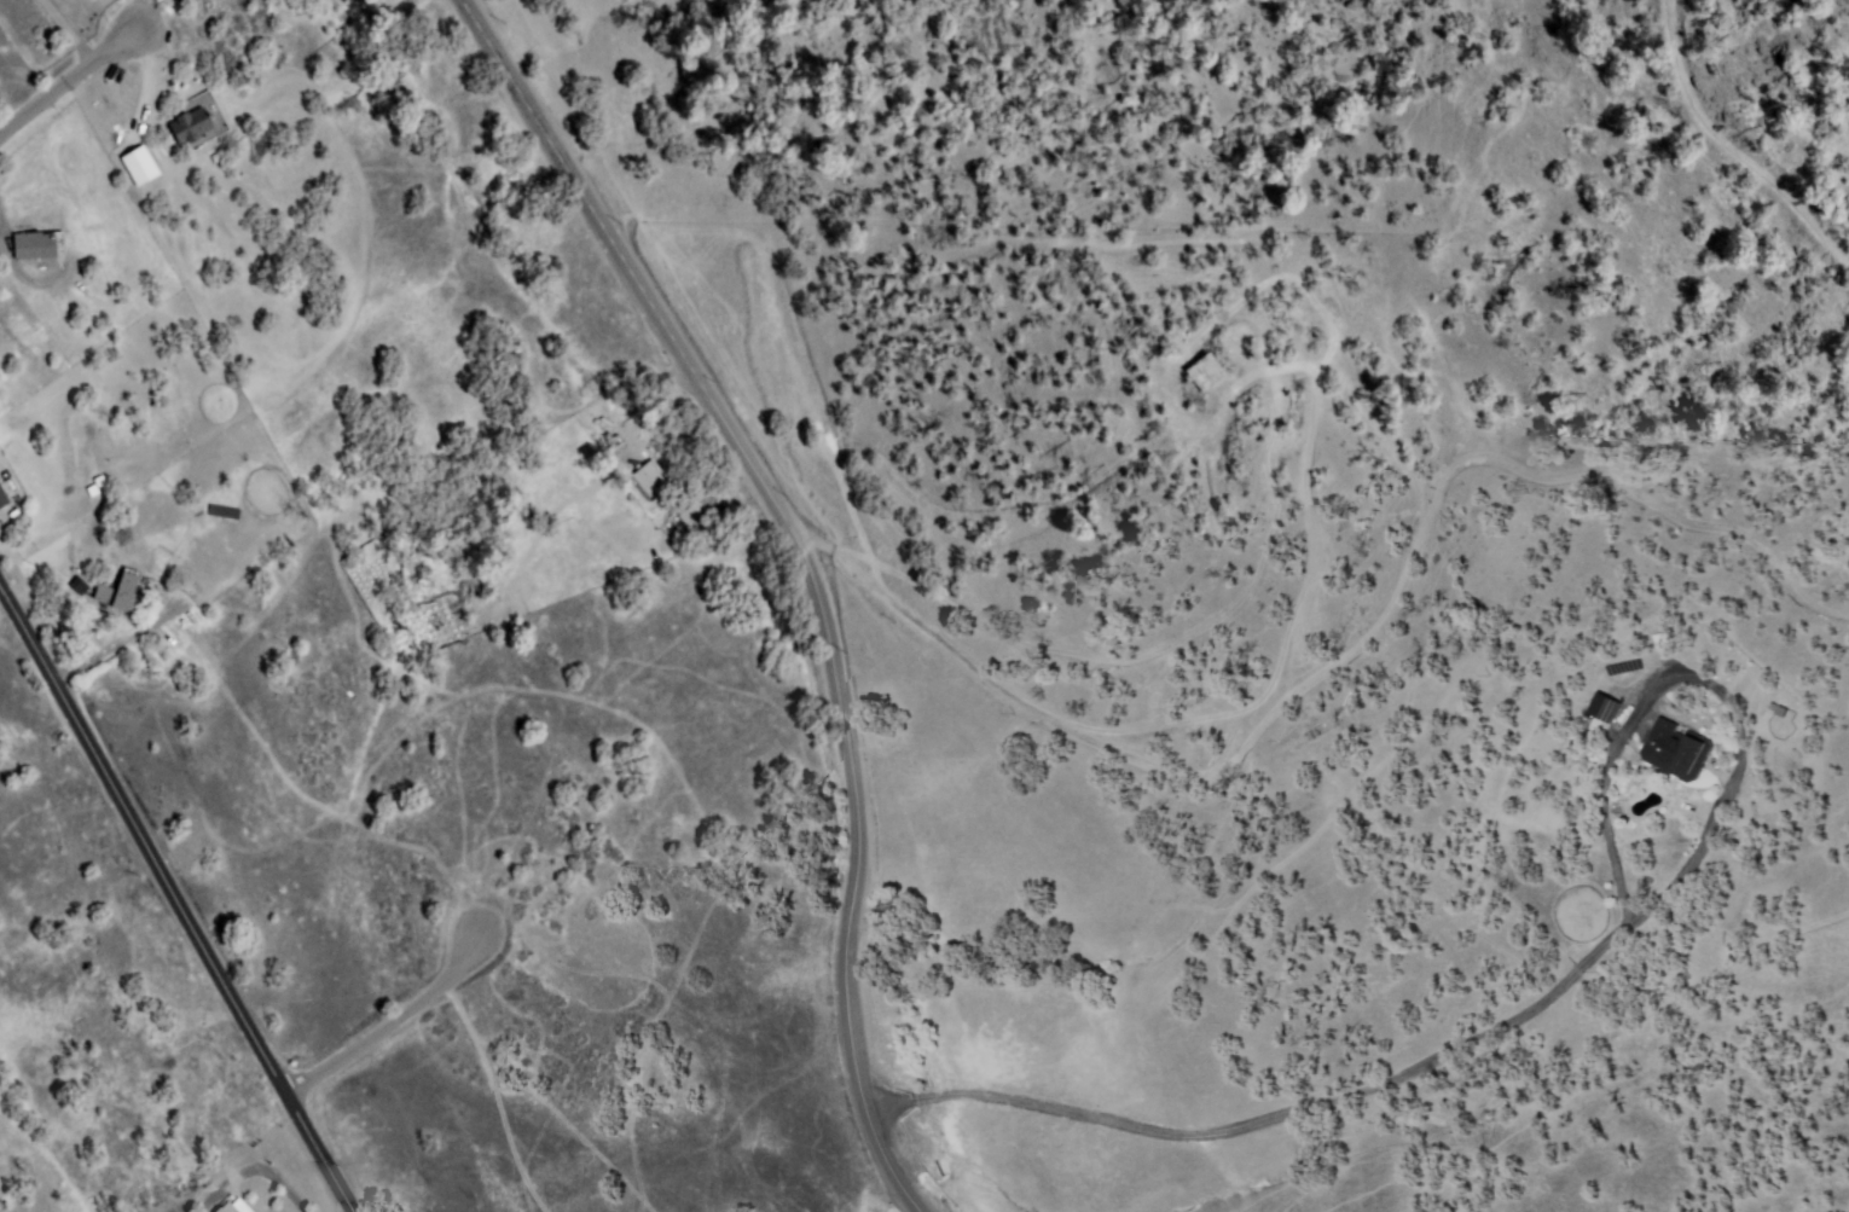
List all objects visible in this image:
road: (70, 80)
building: (192, 126)
building: (149, 179)
building: (40, 245)
building: (1200, 375)
building: (1299, 396)
building: (615, 441)
building: (662, 470)
building: (97, 481)
building: (650, 481)
building: (2, 499)
building: (705, 500)
building: (662, 517)
road: (802, 568)
building: (122, 595)
building: (1662, 642)
building: (1594, 702)
building: (1779, 711)
building: (1675, 750)
road: (1225, 842)
road: (173, 899)
road: (394, 1023)
building: (228, 1208)

